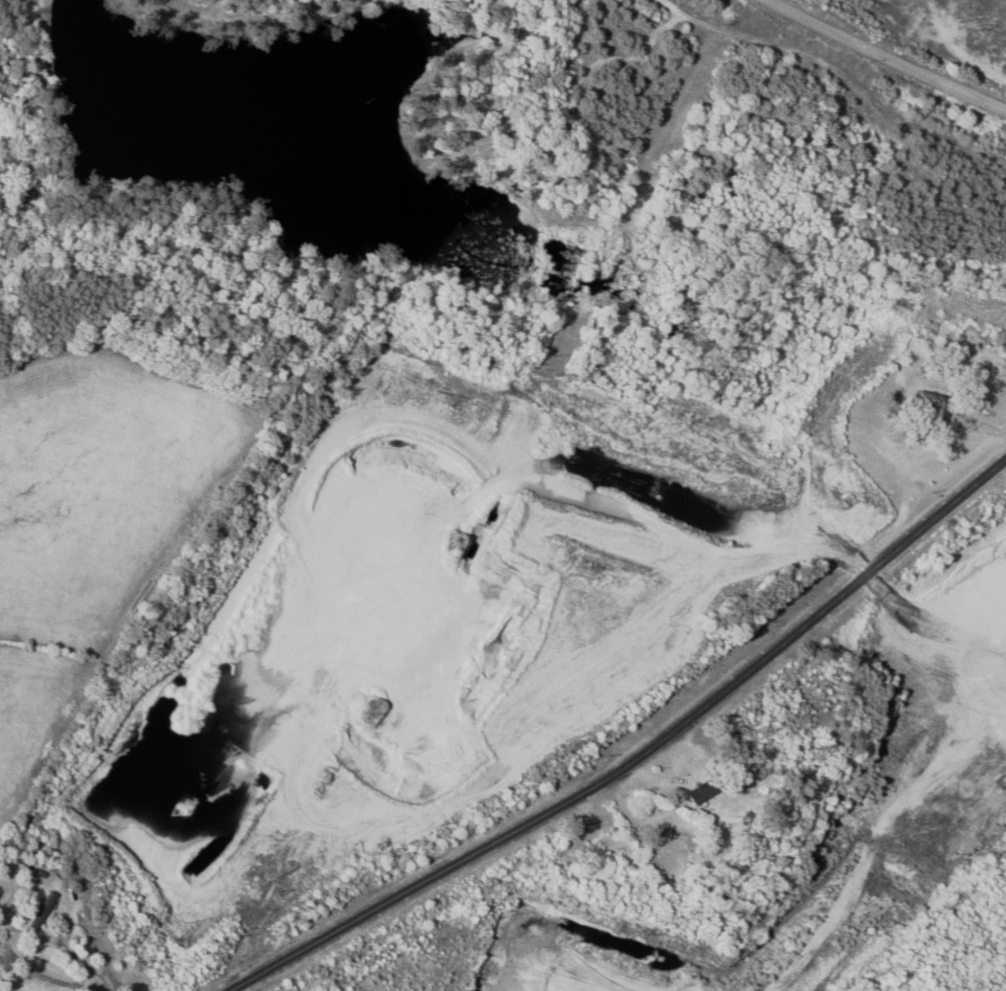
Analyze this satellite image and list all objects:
road: (888, 54)
dam: (56, 89)
dam: (64, 187)
building: (933, 405)
road: (628, 770)
building: (703, 791)
building: (0, 936)

